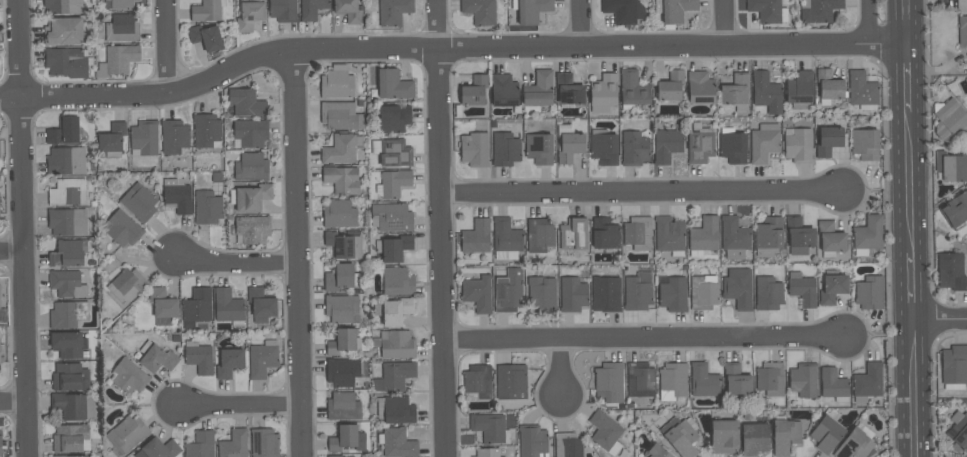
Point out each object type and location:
building: (122, 4)
building: (961, 5)
parking lot: (962, 5)
building: (63, 6)
building: (312, 9)
building: (283, 10)
building: (348, 10)
building: (530, 10)
building: (676, 10)
building: (818, 10)
building: (206, 11)
building: (479, 11)
building: (623, 11)
building: (768, 11)
building: (390, 12)
building: (249, 15)
road: (726, 21)
road: (869, 22)
road: (903, 22)
road: (580, 23)
building: (122, 28)
building: (63, 31)
building: (963, 33)
building: (206, 37)
road: (165, 46)
road: (447, 47)
building: (117, 60)
building: (66, 62)
road: (904, 78)
building: (337, 83)
building: (393, 85)
building: (670, 86)
building: (700, 87)
building: (828, 87)
building: (569, 88)
building: (633, 88)
building: (539, 89)
building: (504, 90)
building: (800, 90)
building: (474, 91)
building: (862, 91)
building: (603, 92)
building: (735, 92)
building: (766, 93)
building: (246, 103)
building: (340, 116)
building: (394, 118)
building: (948, 120)
building: (64, 131)
building: (206, 131)
building: (250, 133)
building: (174, 136)
building: (144, 138)
building: (828, 138)
building: (112, 139)
building: (764, 142)
building: (568, 143)
building: (865, 144)
building: (797, 145)
building: (666, 146)
building: (732, 146)
building: (603, 147)
building: (699, 147)
building: (539, 148)
building: (634, 148)
building: (473, 149)
building: (505, 149)
building: (339, 150)
building: (392, 152)
building: (66, 161)
building: (951, 166)
building: (251, 167)
building: (341, 180)
road: (906, 183)
building: (393, 184)
building: (67, 191)
road: (641, 193)
building: (177, 195)
building: (250, 197)
building: (138, 202)
building: (207, 207)
building: (956, 211)
building: (338, 214)
building: (391, 217)
building: (67, 222)
road: (20, 228)
road: (439, 228)
building: (123, 229)
building: (252, 229)
building: (604, 233)
building: (637, 233)
building: (539, 235)
building: (669, 235)
building: (867, 235)
building: (768, 236)
building: (798, 236)
building: (476, 237)
building: (573, 237)
building: (703, 237)
building: (734, 237)
building: (830, 238)
building: (506, 239)
building: (343, 245)
building: (393, 248)
road: (10, 249)
building: (68, 253)
road: (296, 254)
road: (234, 262)
building: (951, 271)
building: (341, 277)
building: (397, 281)
building: (67, 284)
building: (127, 285)
road: (909, 286)
building: (0, 287)
building: (832, 287)
building: (738, 288)
building: (802, 289)
building: (508, 291)
building: (637, 292)
building: (703, 292)
building: (870, 292)
building: (477, 293)
building: (542, 293)
building: (672, 293)
building: (768, 293)
building: (572, 294)
building: (605, 294)
building: (260, 305)
building: (163, 306)
building: (196, 307)
building: (228, 307)
building: (0, 308)
building: (341, 308)
building: (396, 311)
building: (67, 314)
road: (938, 319)
building: (343, 341)
road: (646, 341)
building: (68, 344)
building: (395, 344)
building: (198, 357)
building: (156, 358)
building: (262, 359)
building: (229, 362)
building: (954, 367)
road: (562, 370)
building: (343, 373)
building: (394, 376)
building: (69, 377)
building: (128, 377)
building: (640, 379)
building: (771, 379)
building: (703, 380)
building: (736, 380)
building: (803, 380)
building: (477, 382)
building: (511, 382)
building: (609, 382)
building: (672, 382)
building: (867, 382)
building: (833, 385)
road: (911, 388)
road: (12, 400)
building: (72, 406)
road: (241, 406)
building: (342, 407)
building: (395, 409)
building: (490, 428)
building: (958, 430)
building: (605, 432)
building: (127, 434)
building: (826, 434)
building: (680, 436)
building: (785, 436)
building: (724, 437)
building: (346, 438)
building: (753, 438)
building: (70, 439)
building: (532, 441)
building: (264, 443)
building: (397, 443)
building: (855, 443)
building: (200, 444)
building: (234, 444)
building: (567, 445)
building: (0, 446)
building: (158, 449)
building: (657, 451)
building: (486, 453)
building: (66, 456)
building: (334, 456)

